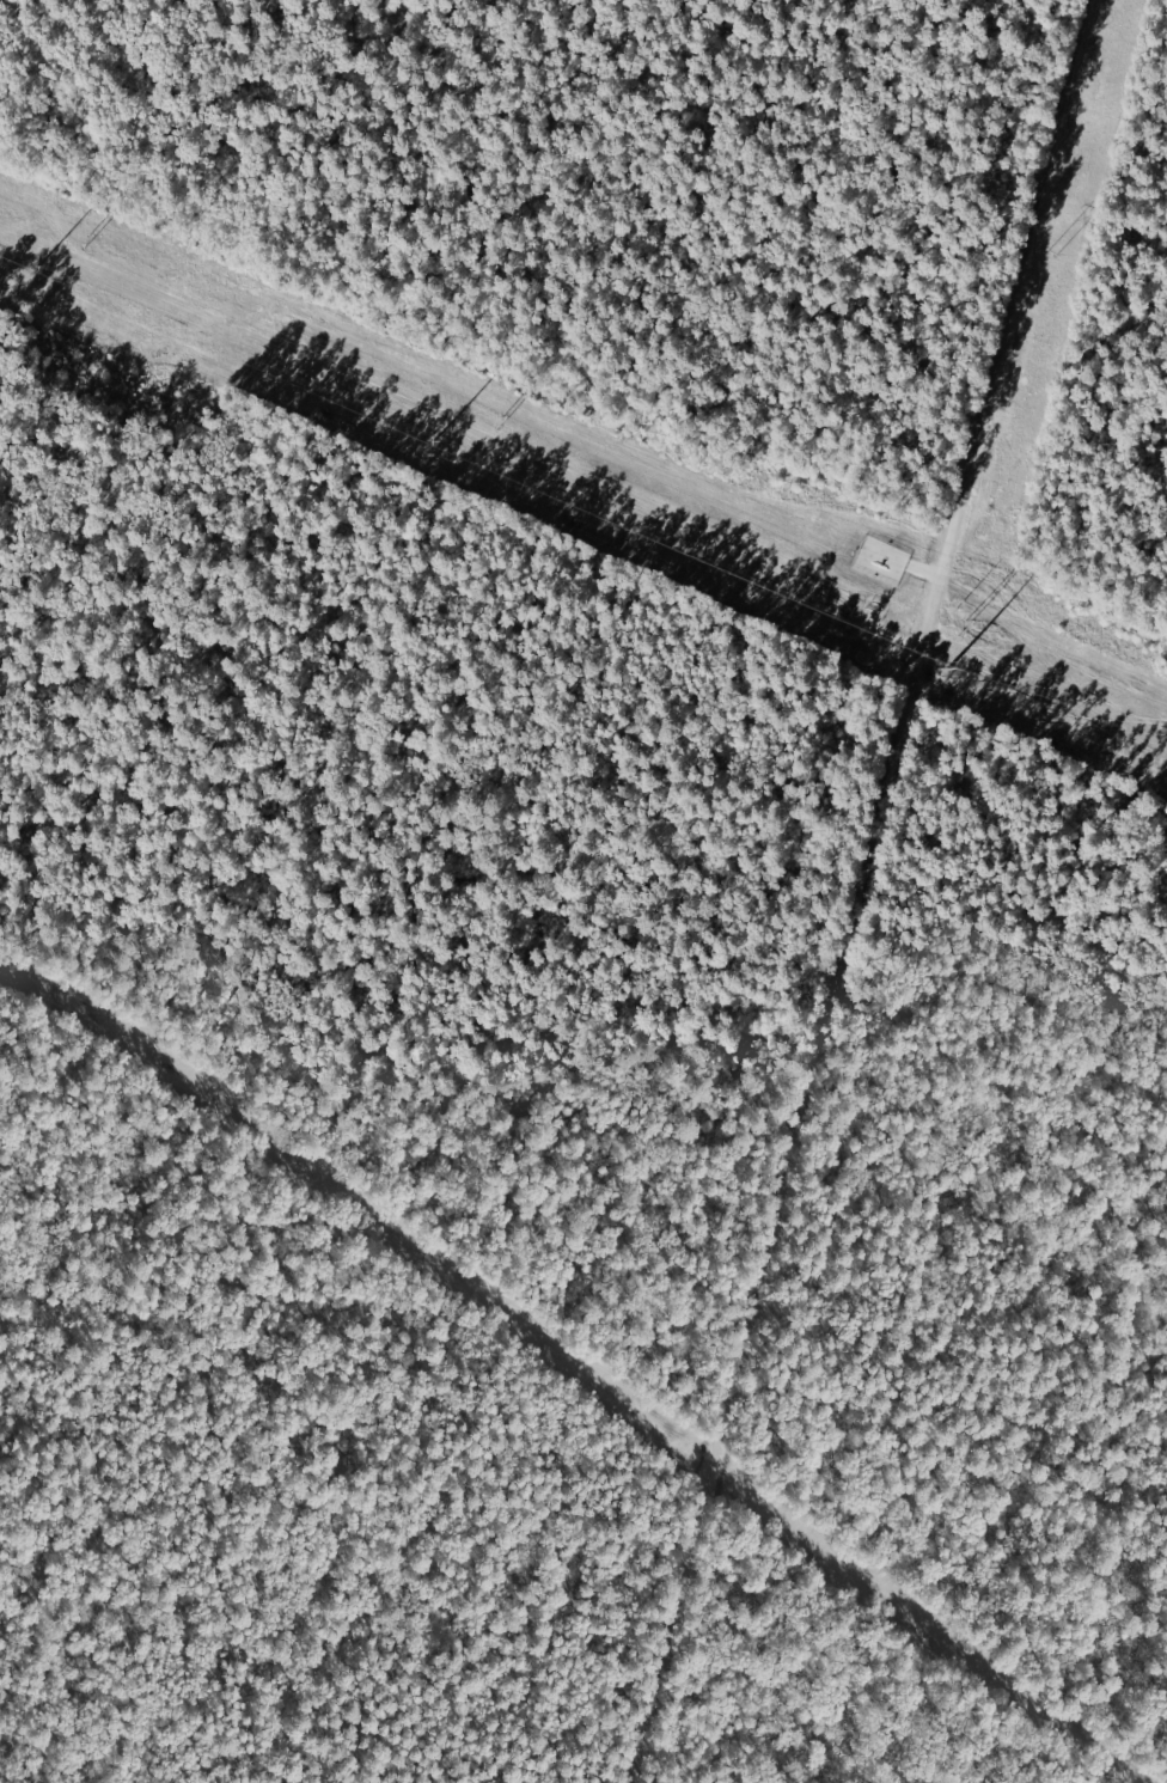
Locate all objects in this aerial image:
power tower: (88, 243)
power tower: (1055, 254)
power tower: (502, 423)
power tower: (963, 623)
road: (887, 893)

